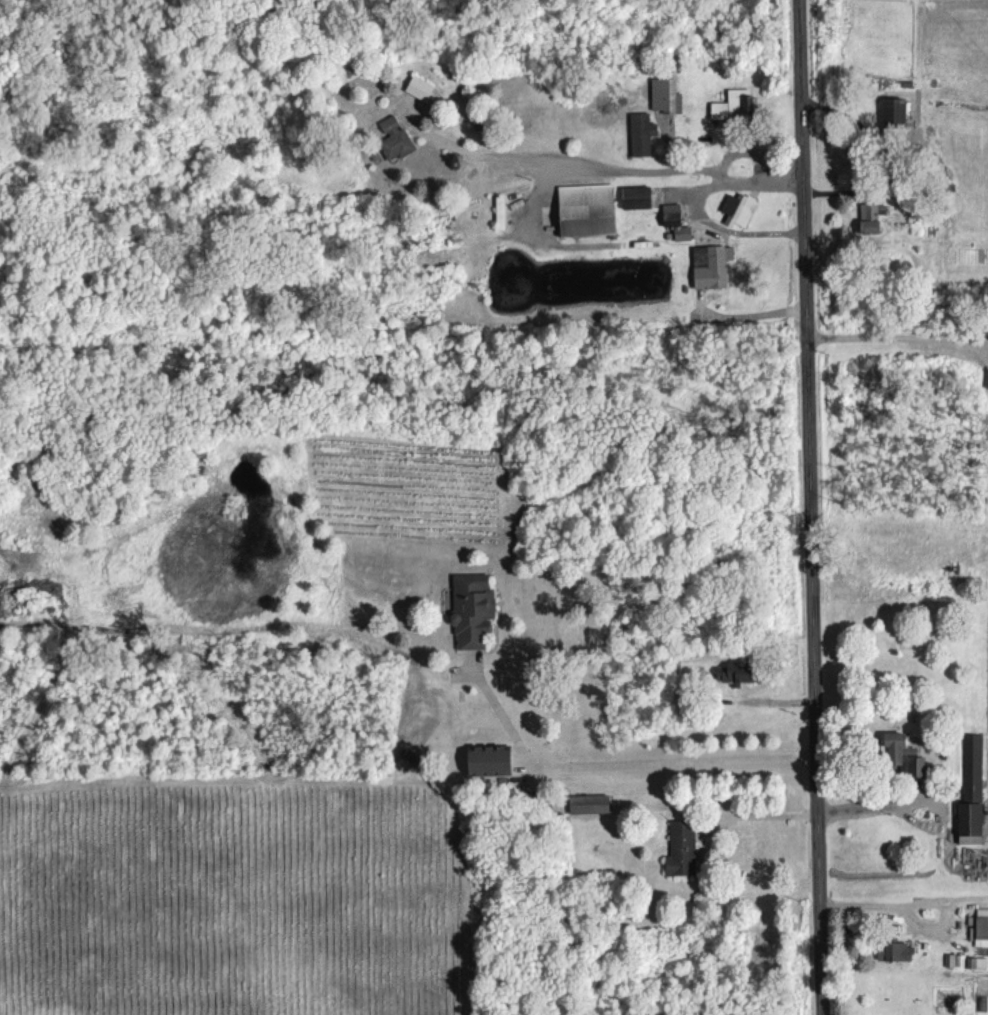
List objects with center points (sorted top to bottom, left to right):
building: (419, 86)
building: (665, 95)
building: (733, 105)
building: (892, 113)
building: (640, 134)
building: (393, 139)
road: (650, 166)
road: (718, 174)
building: (634, 197)
road: (700, 205)
building: (738, 209)
building: (583, 210)
building: (867, 218)
building: (674, 222)
building: (711, 268)
road: (753, 315)
road: (899, 335)
building: (986, 378)
road: (809, 507)
building: (470, 609)
building: (733, 673)
building: (901, 754)
building: (487, 760)
road: (624, 760)
building: (970, 792)
road: (903, 799)
building: (587, 803)
road: (760, 814)
building: (680, 848)
road: (903, 904)
building: (893, 951)
building: (957, 960)
building: (977, 962)

